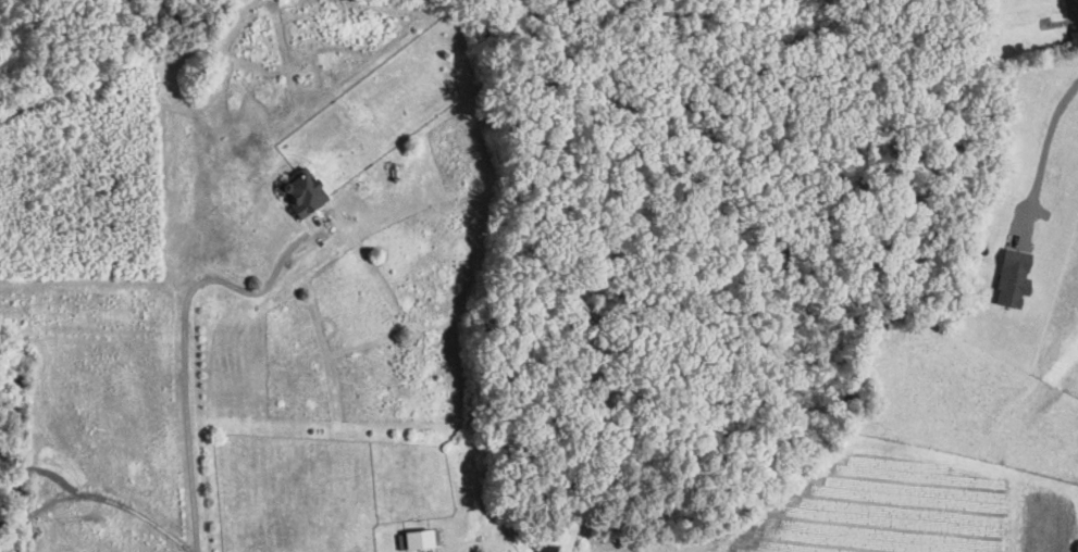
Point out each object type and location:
road: (1043, 150)
building: (298, 191)
building: (1008, 277)
road: (255, 294)
road: (185, 432)
road: (128, 507)
building: (416, 538)
building: (545, 548)

